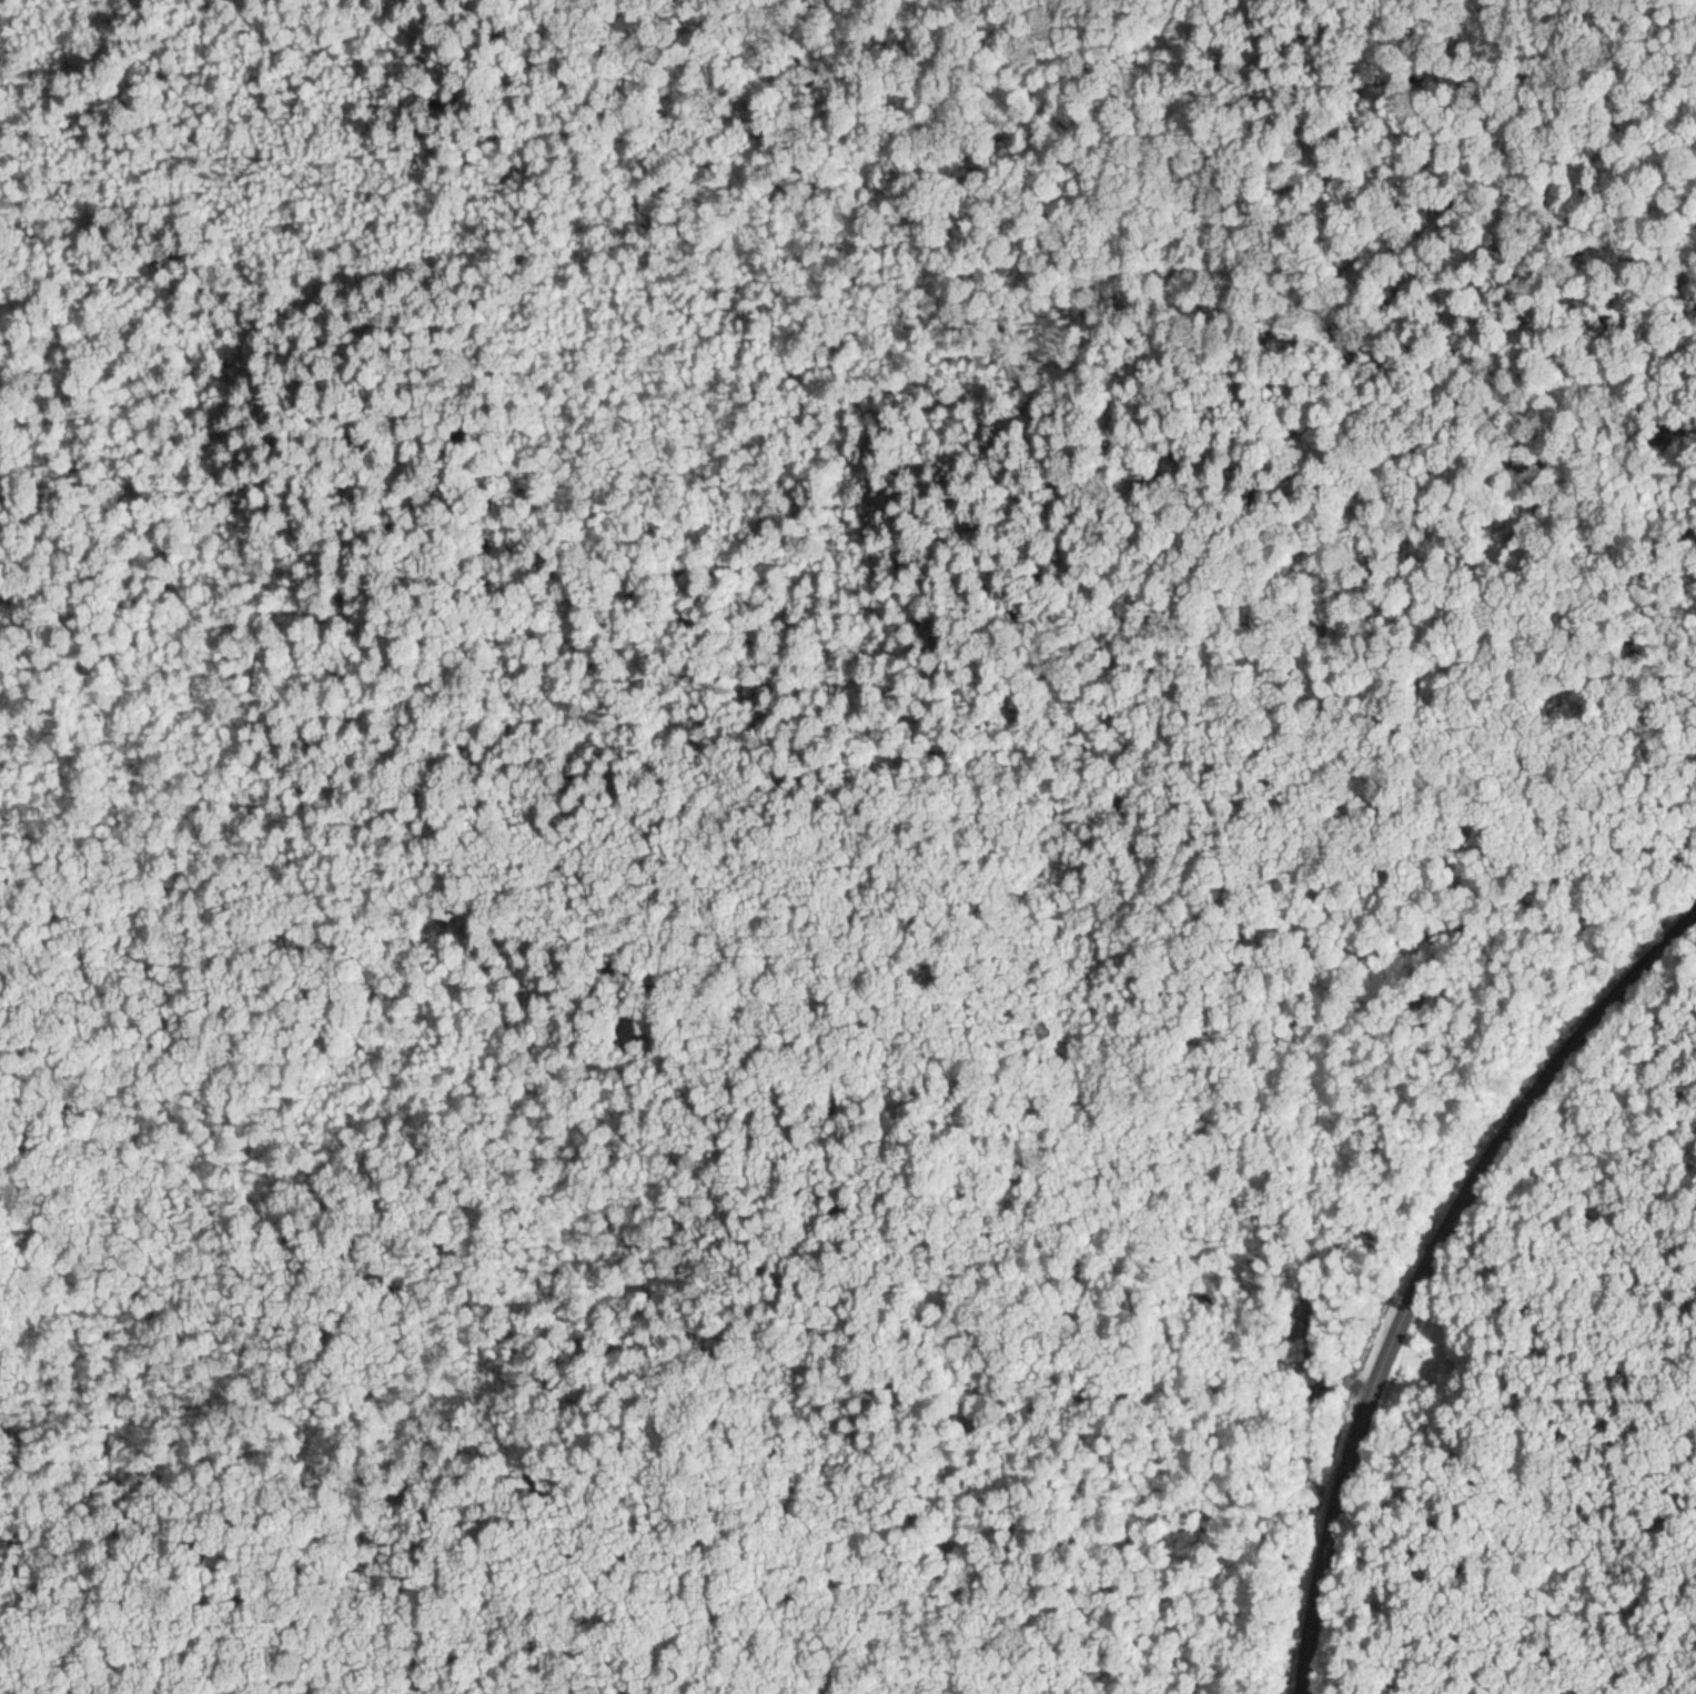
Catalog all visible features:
road: (1332, 1100)
road: (1495, 1147)
road: (1598, 1180)
road: (1320, 1550)

